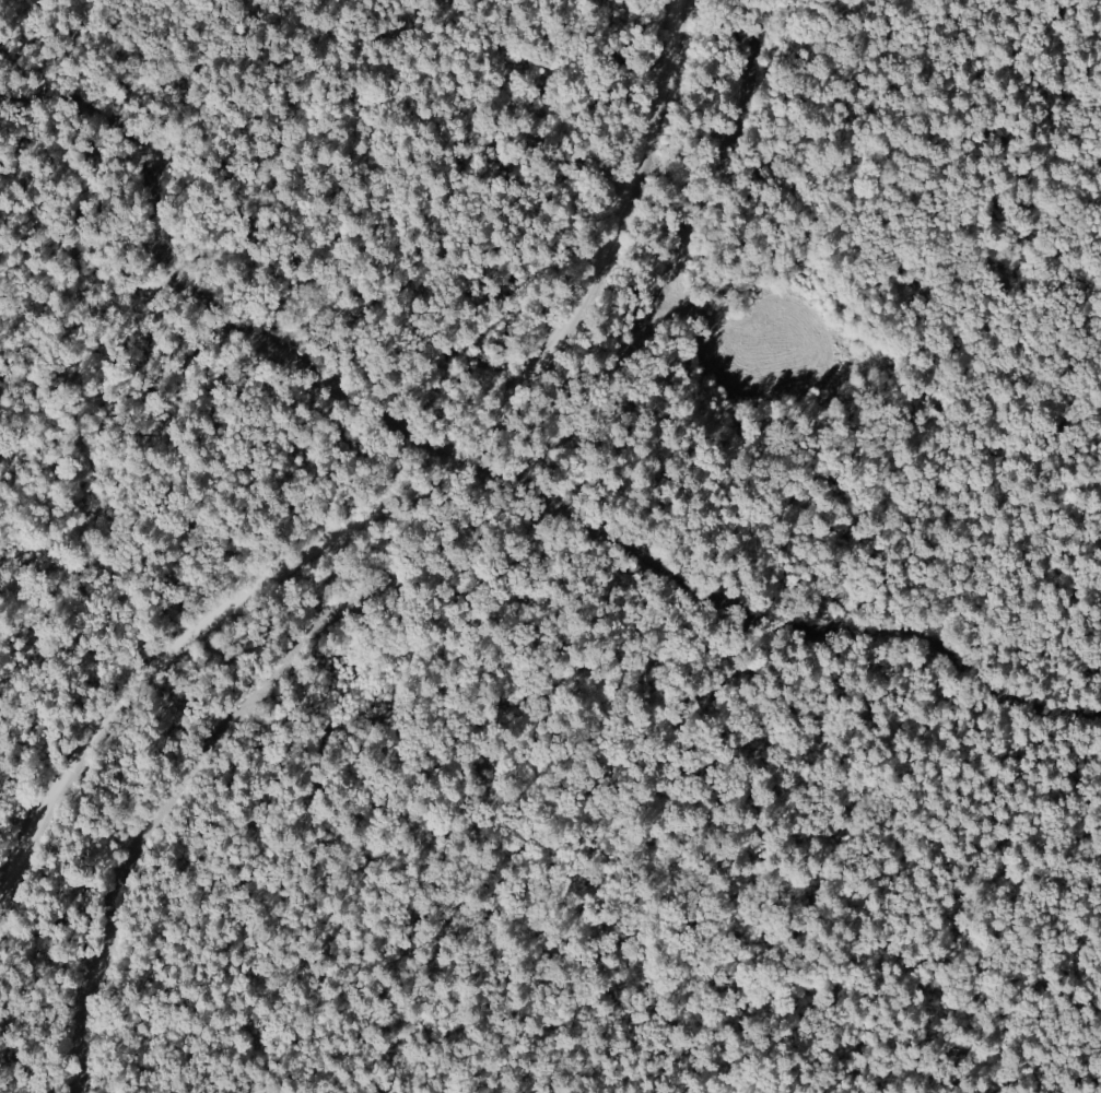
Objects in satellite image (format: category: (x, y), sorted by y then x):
road: (75, 354)
road: (494, 472)
road: (408, 503)

